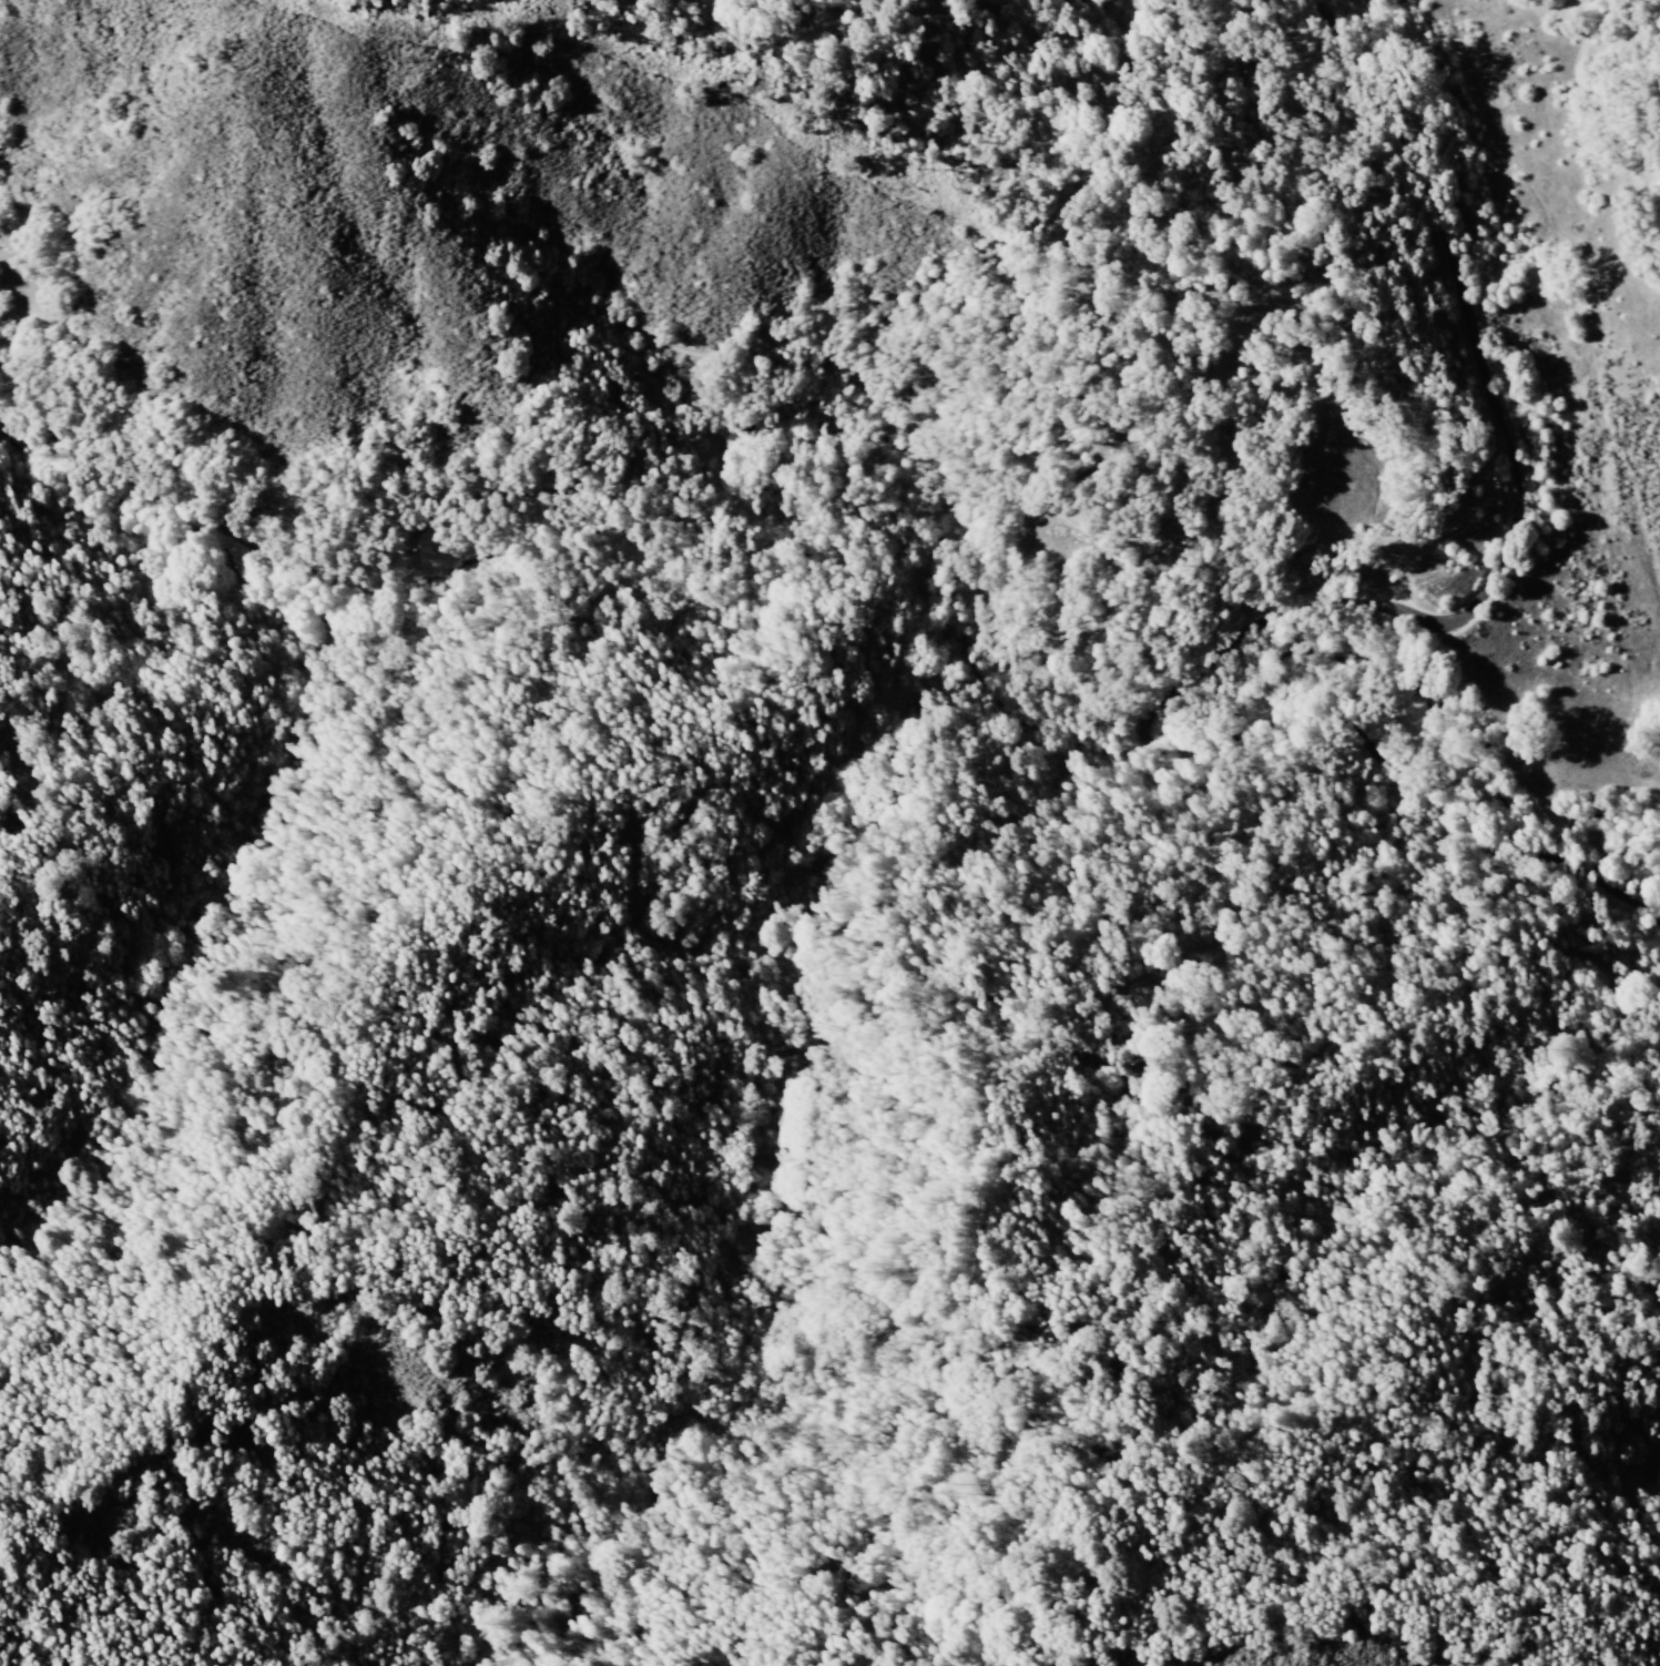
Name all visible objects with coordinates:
road: (1312, 606)

